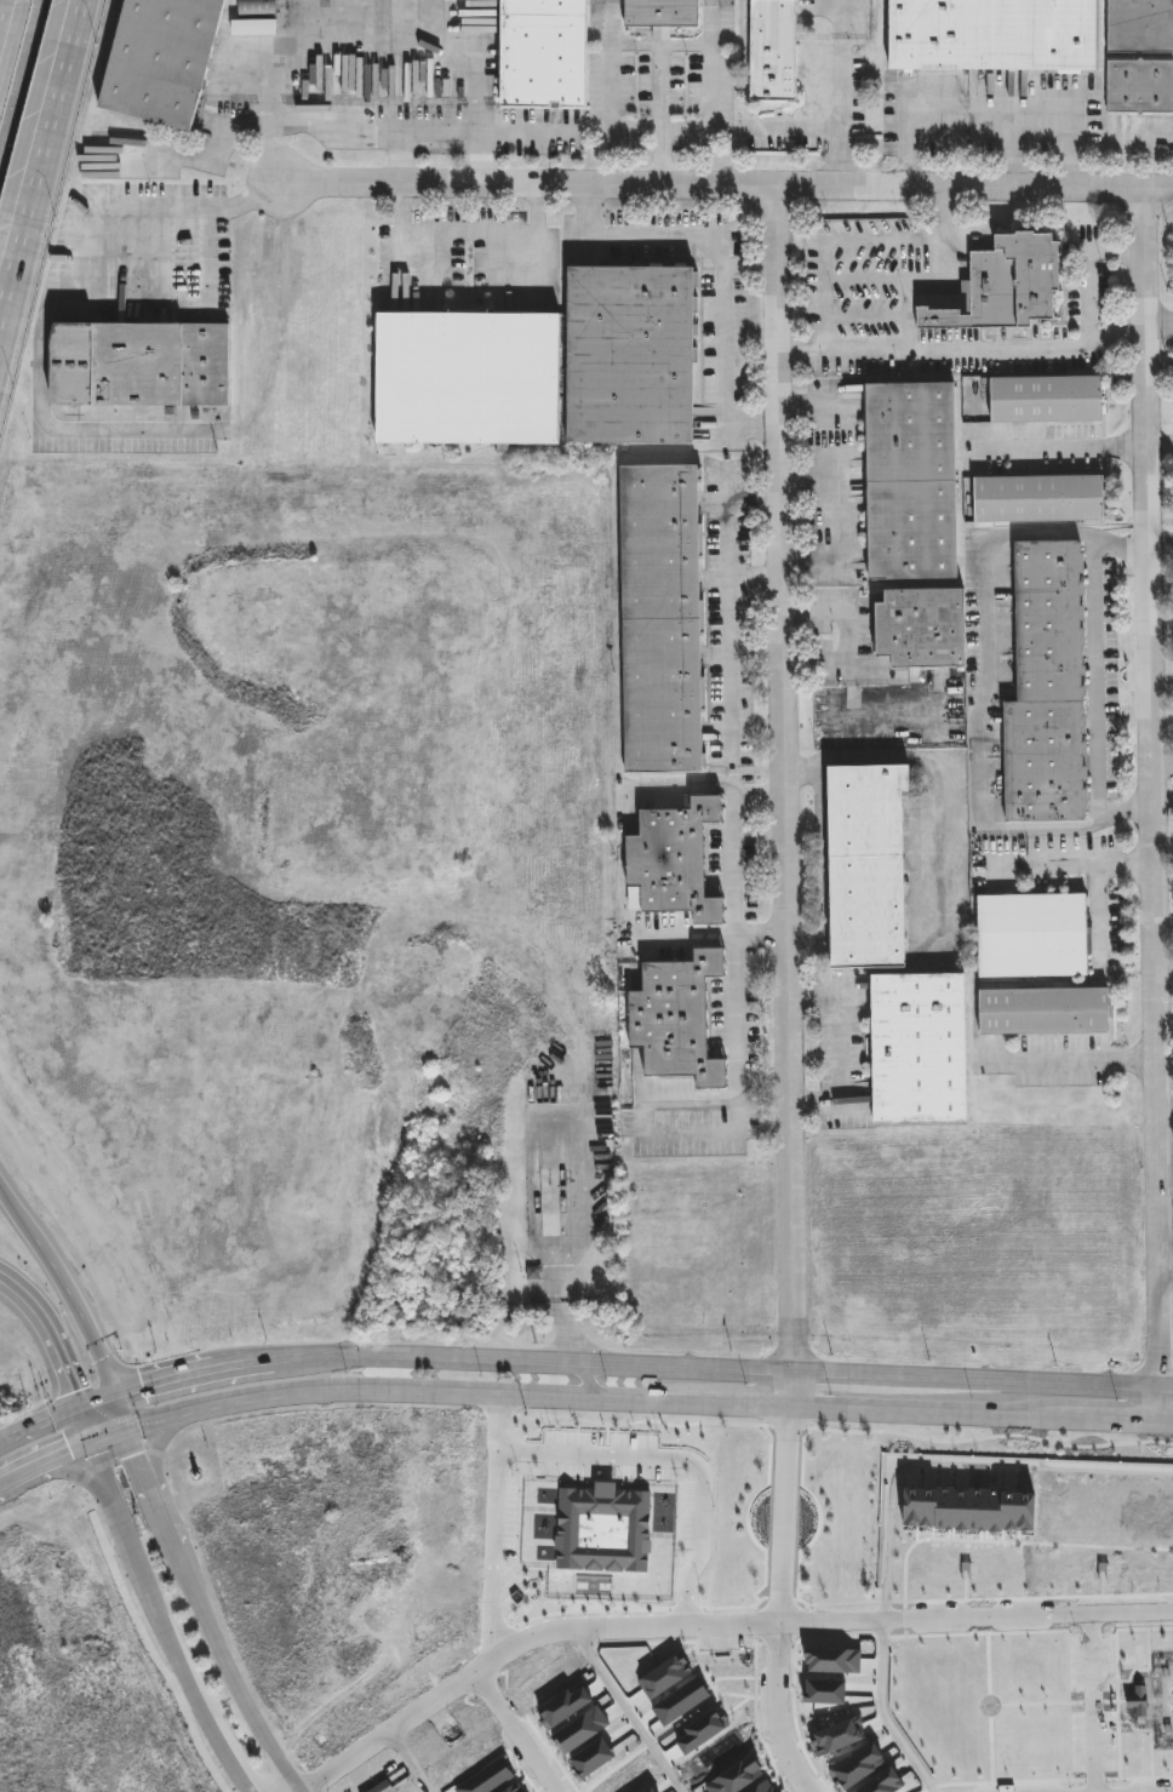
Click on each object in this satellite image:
road: (0, 1)
building: (663, 12)
building: (1140, 24)
building: (994, 34)
road: (364, 36)
road: (619, 44)
road: (710, 44)
building: (774, 50)
building: (547, 52)
building: (162, 58)
building: (1140, 86)
road: (842, 91)
road: (994, 110)
road: (664, 115)
road: (334, 130)
road: (801, 130)
road: (544, 131)
road: (413, 132)
road: (658, 134)
road: (1125, 136)
road: (1013, 148)
road: (44, 170)
road: (728, 183)
road: (207, 217)
road: (468, 235)
road: (865, 240)
road: (753, 264)
road: (725, 265)
road: (896, 282)
building: (1008, 285)
road: (1088, 302)
road: (1161, 326)
road: (36, 339)
road: (2, 349)
road: (935, 351)
building: (633, 355)
building: (141, 363)
building: (469, 379)
building: (1048, 399)
road: (1161, 440)
road: (1066, 441)
building: (914, 481)
building: (1040, 498)
road: (1162, 542)
road: (756, 578)
building: (657, 616)
road: (729, 616)
building: (922, 628)
road: (849, 636)
road: (757, 648)
road: (1099, 680)
road: (986, 688)
building: (1048, 689)
road: (1163, 758)
road: (943, 778)
road: (786, 795)
road: (1154, 800)
road: (1163, 806)
building: (668, 859)
road: (1042, 863)
building: (869, 866)
road: (1097, 888)
road: (711, 934)
building: (1034, 935)
road: (1163, 937)
road: (733, 939)
road: (1162, 975)
building: (669, 1017)
road: (849, 1048)
building: (921, 1049)
road: (1071, 1059)
road: (1162, 1121)
road: (15, 1206)
road: (1165, 1270)
building: (533, 1273)
road: (78, 1307)
road: (50, 1334)
road: (721, 1363)
road: (191, 1373)
road: (593, 1378)
road: (387, 1387)
traffic signals: (116, 1393)
road: (725, 1401)
traffic signals: (79, 1405)
road: (910, 1408)
road: (120, 1409)
road: (1093, 1413)
road: (57, 1414)
road: (1167, 1414)
road: (85, 1421)
traffic signals: (124, 1426)
road: (107, 1431)
traffic signals: (91, 1437)
road: (158, 1449)
road: (50, 1455)
road: (951, 1461)
road: (138, 1462)
road: (687, 1466)
road: (5, 1477)
road: (92, 1482)
building: (1052, 1507)
building: (968, 1508)
road: (158, 1510)
road: (502, 1523)
road: (167, 1534)
road: (147, 1584)
road: (782, 1602)
road: (719, 1627)
building: (834, 1658)
road: (231, 1672)
building: (659, 1676)
road: (1091, 1704)
road: (630, 1713)
road: (886, 1713)
building: (573, 1725)
road: (677, 1728)
building: (839, 1730)
road: (514, 1734)
road: (230, 1760)
road: (410, 1764)
building: (732, 1773)
building: (882, 1780)
building: (761, 1786)
building: (511, 1788)

